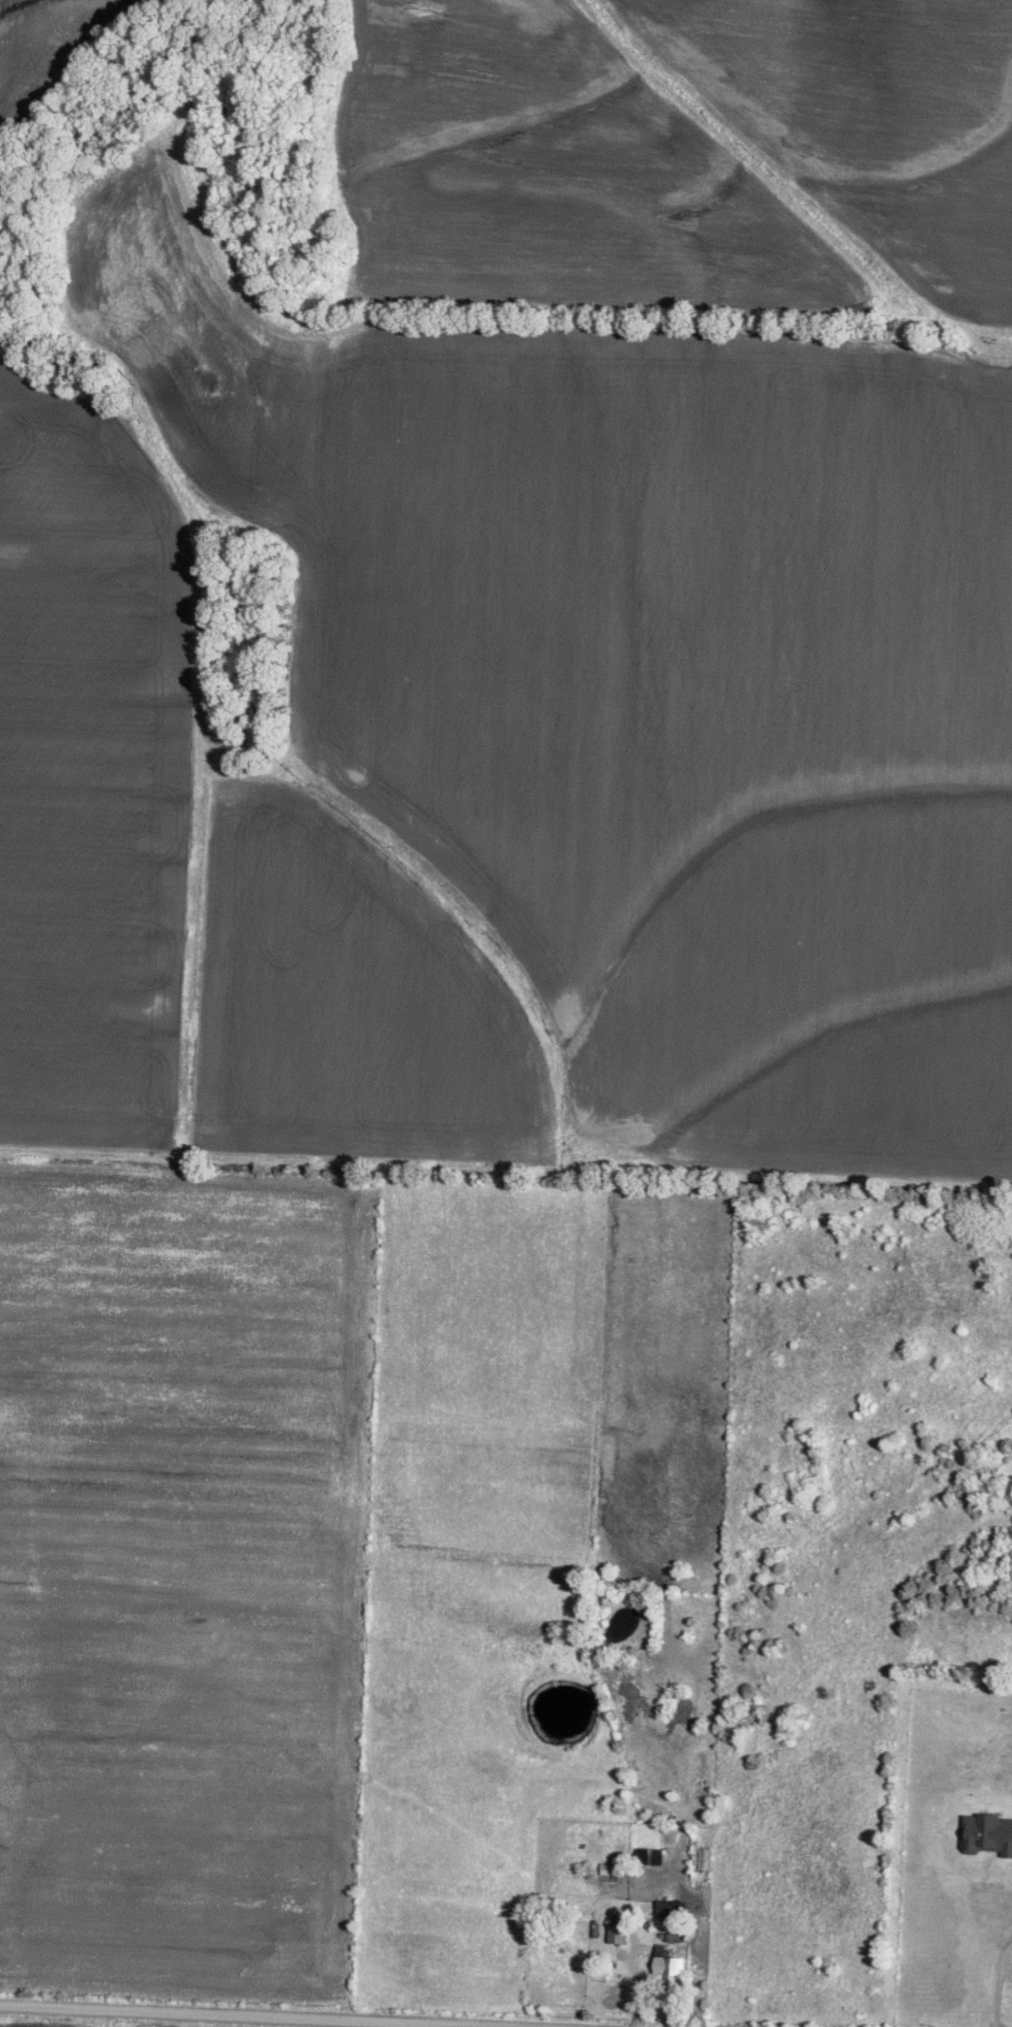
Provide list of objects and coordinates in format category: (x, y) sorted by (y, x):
building: (989, 1830)
building: (651, 1853)
building: (672, 1905)
building: (619, 1929)
road: (998, 1984)
road: (255, 2016)

